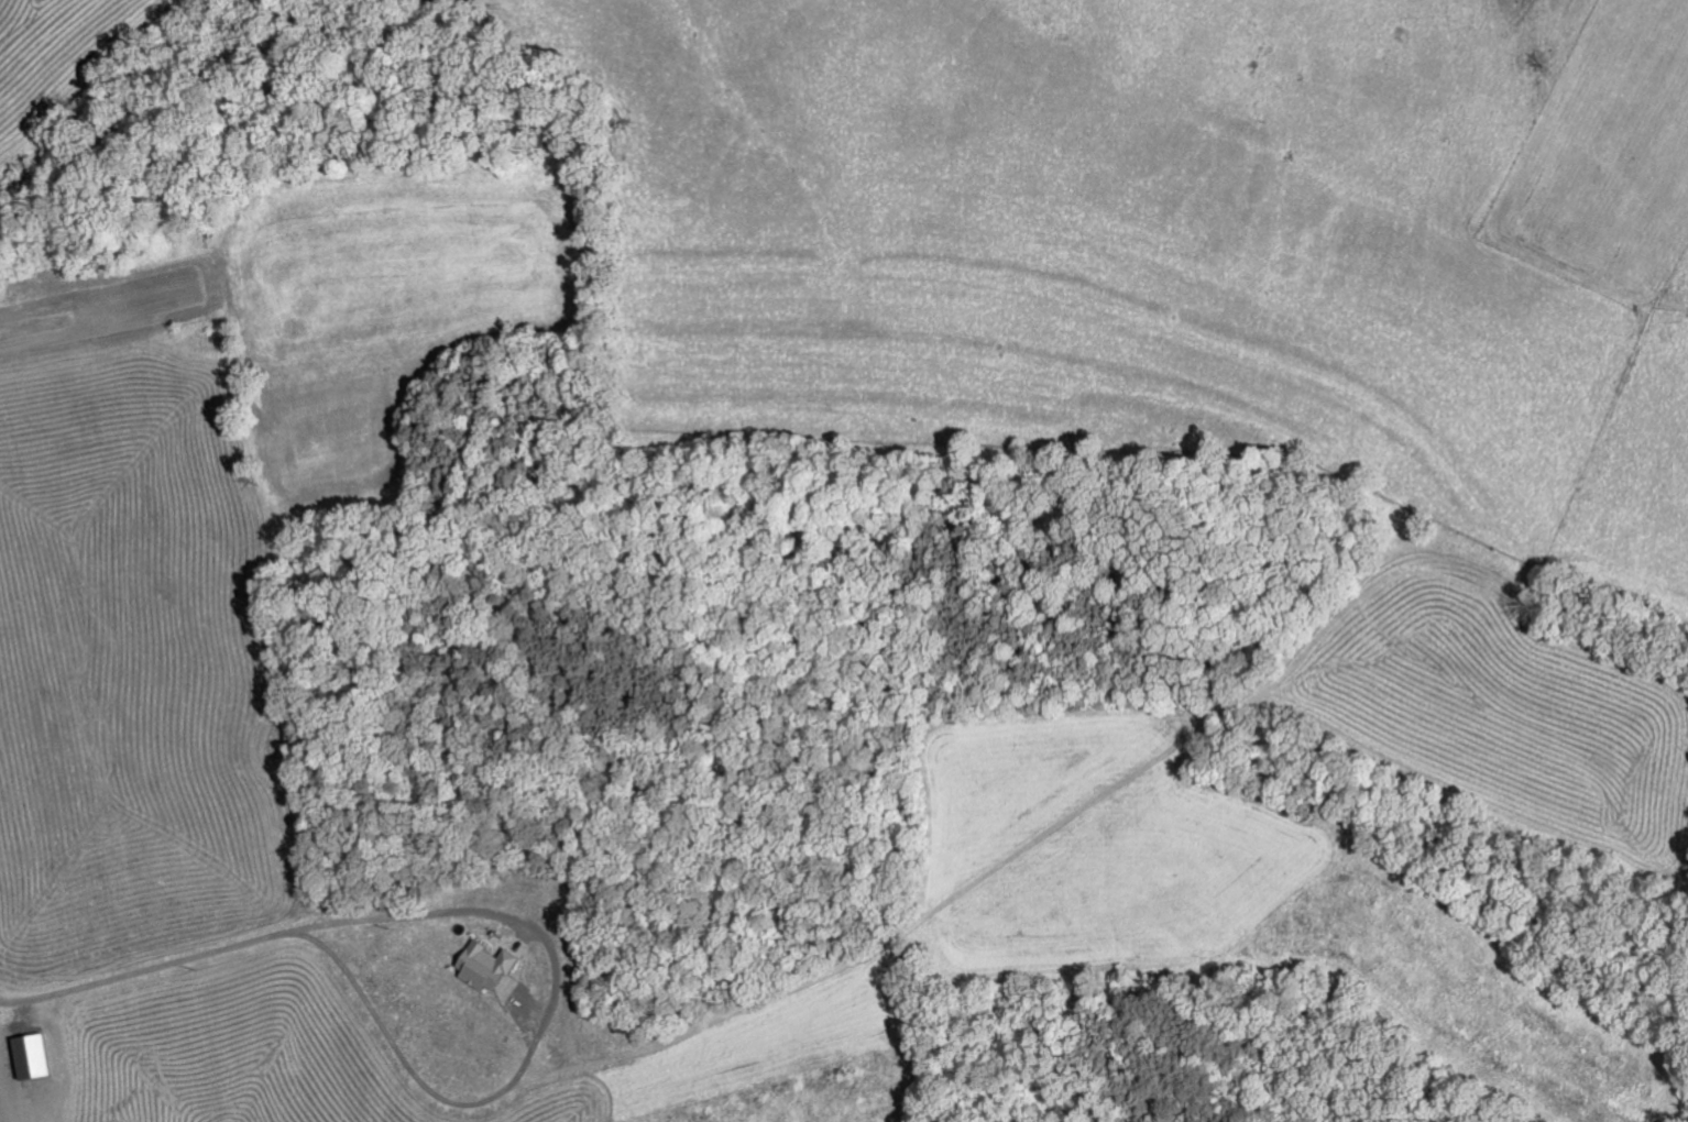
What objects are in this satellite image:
building: (483, 964)

